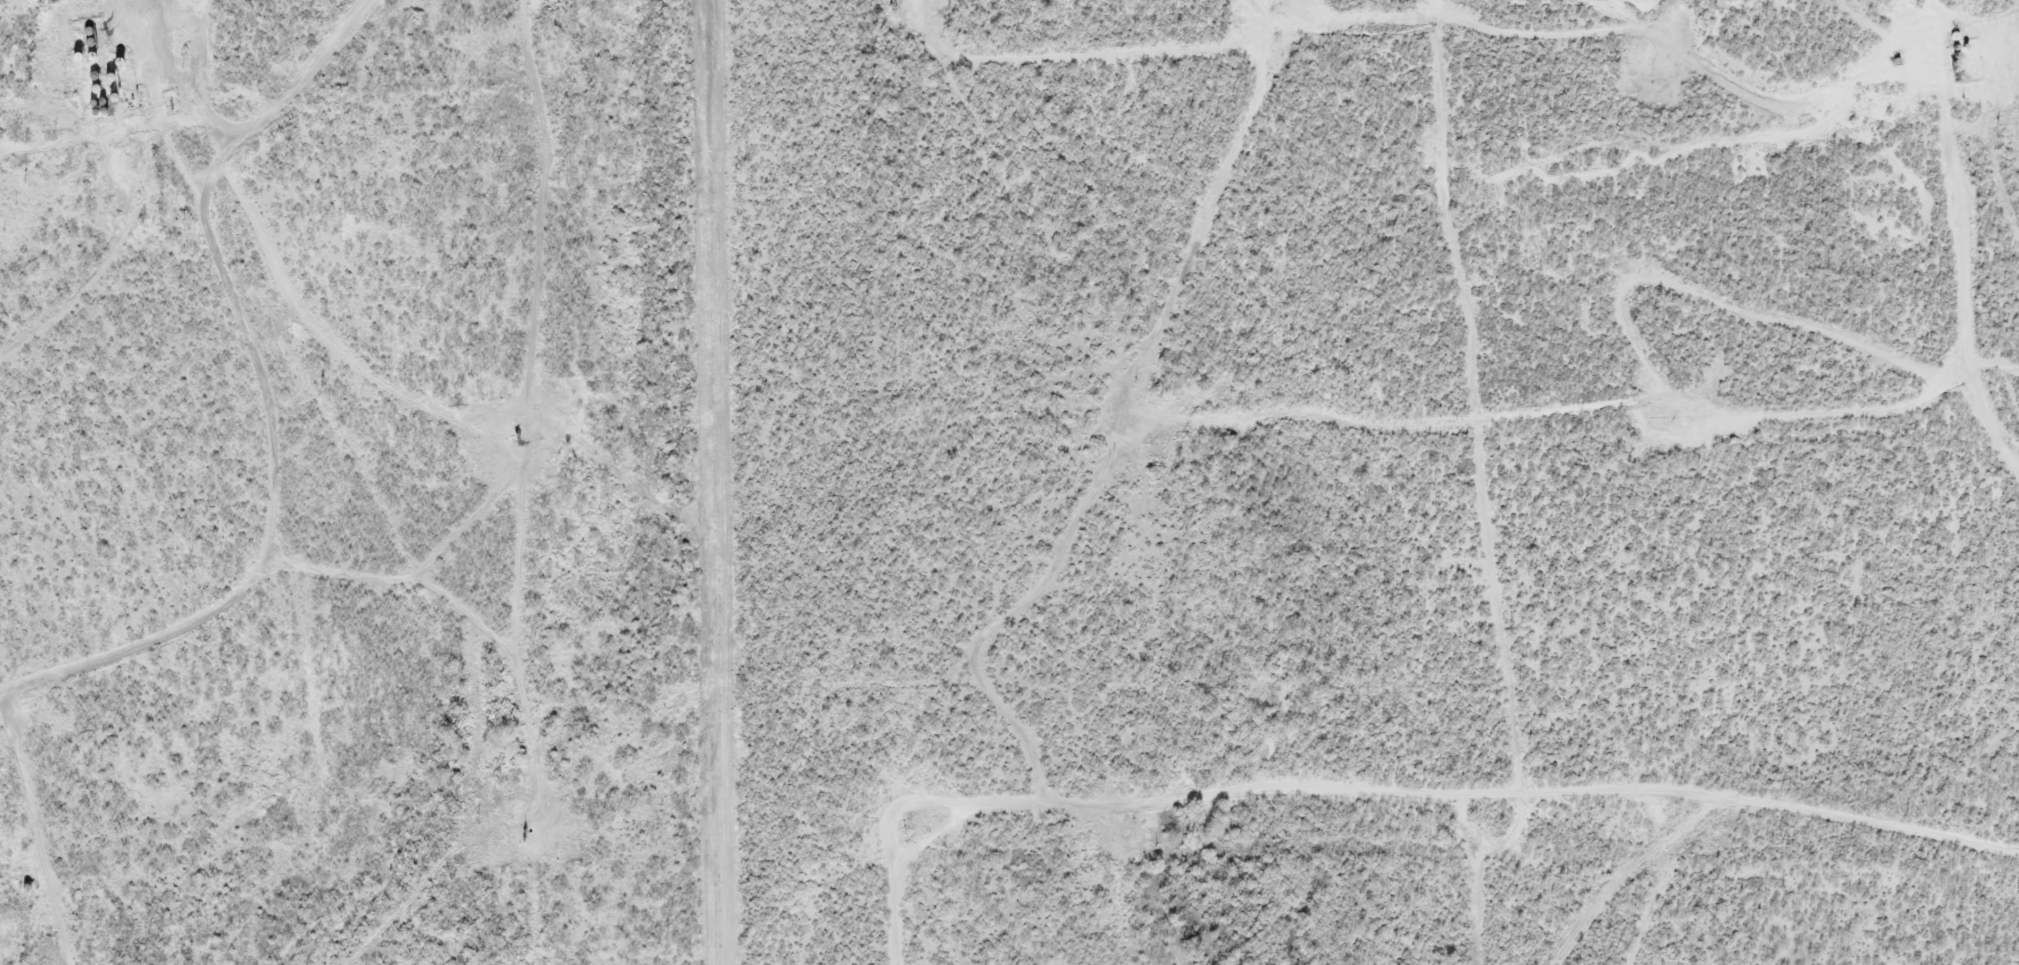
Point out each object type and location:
road: (1936, 43)

